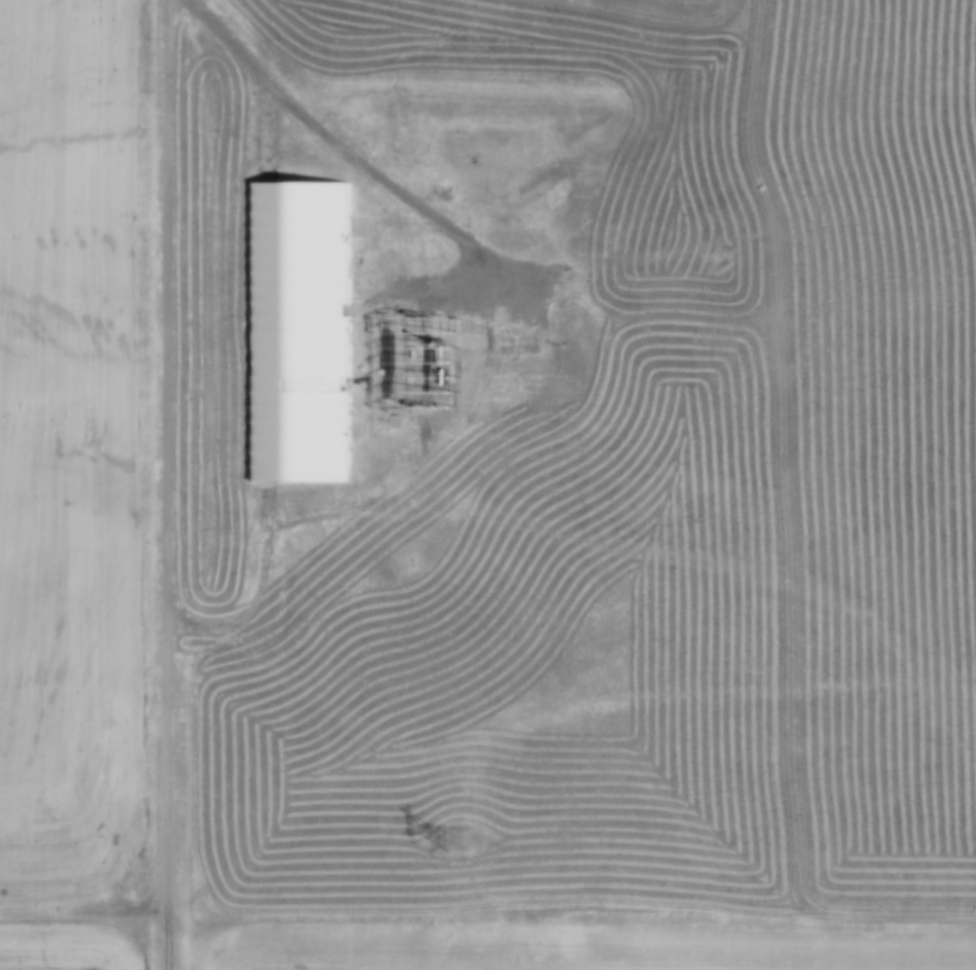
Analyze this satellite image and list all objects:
building: (587, 287)
building: (289, 298)
building: (518, 340)
building: (417, 360)
road: (171, 485)
power tower: (456, 845)
road: (86, 914)

